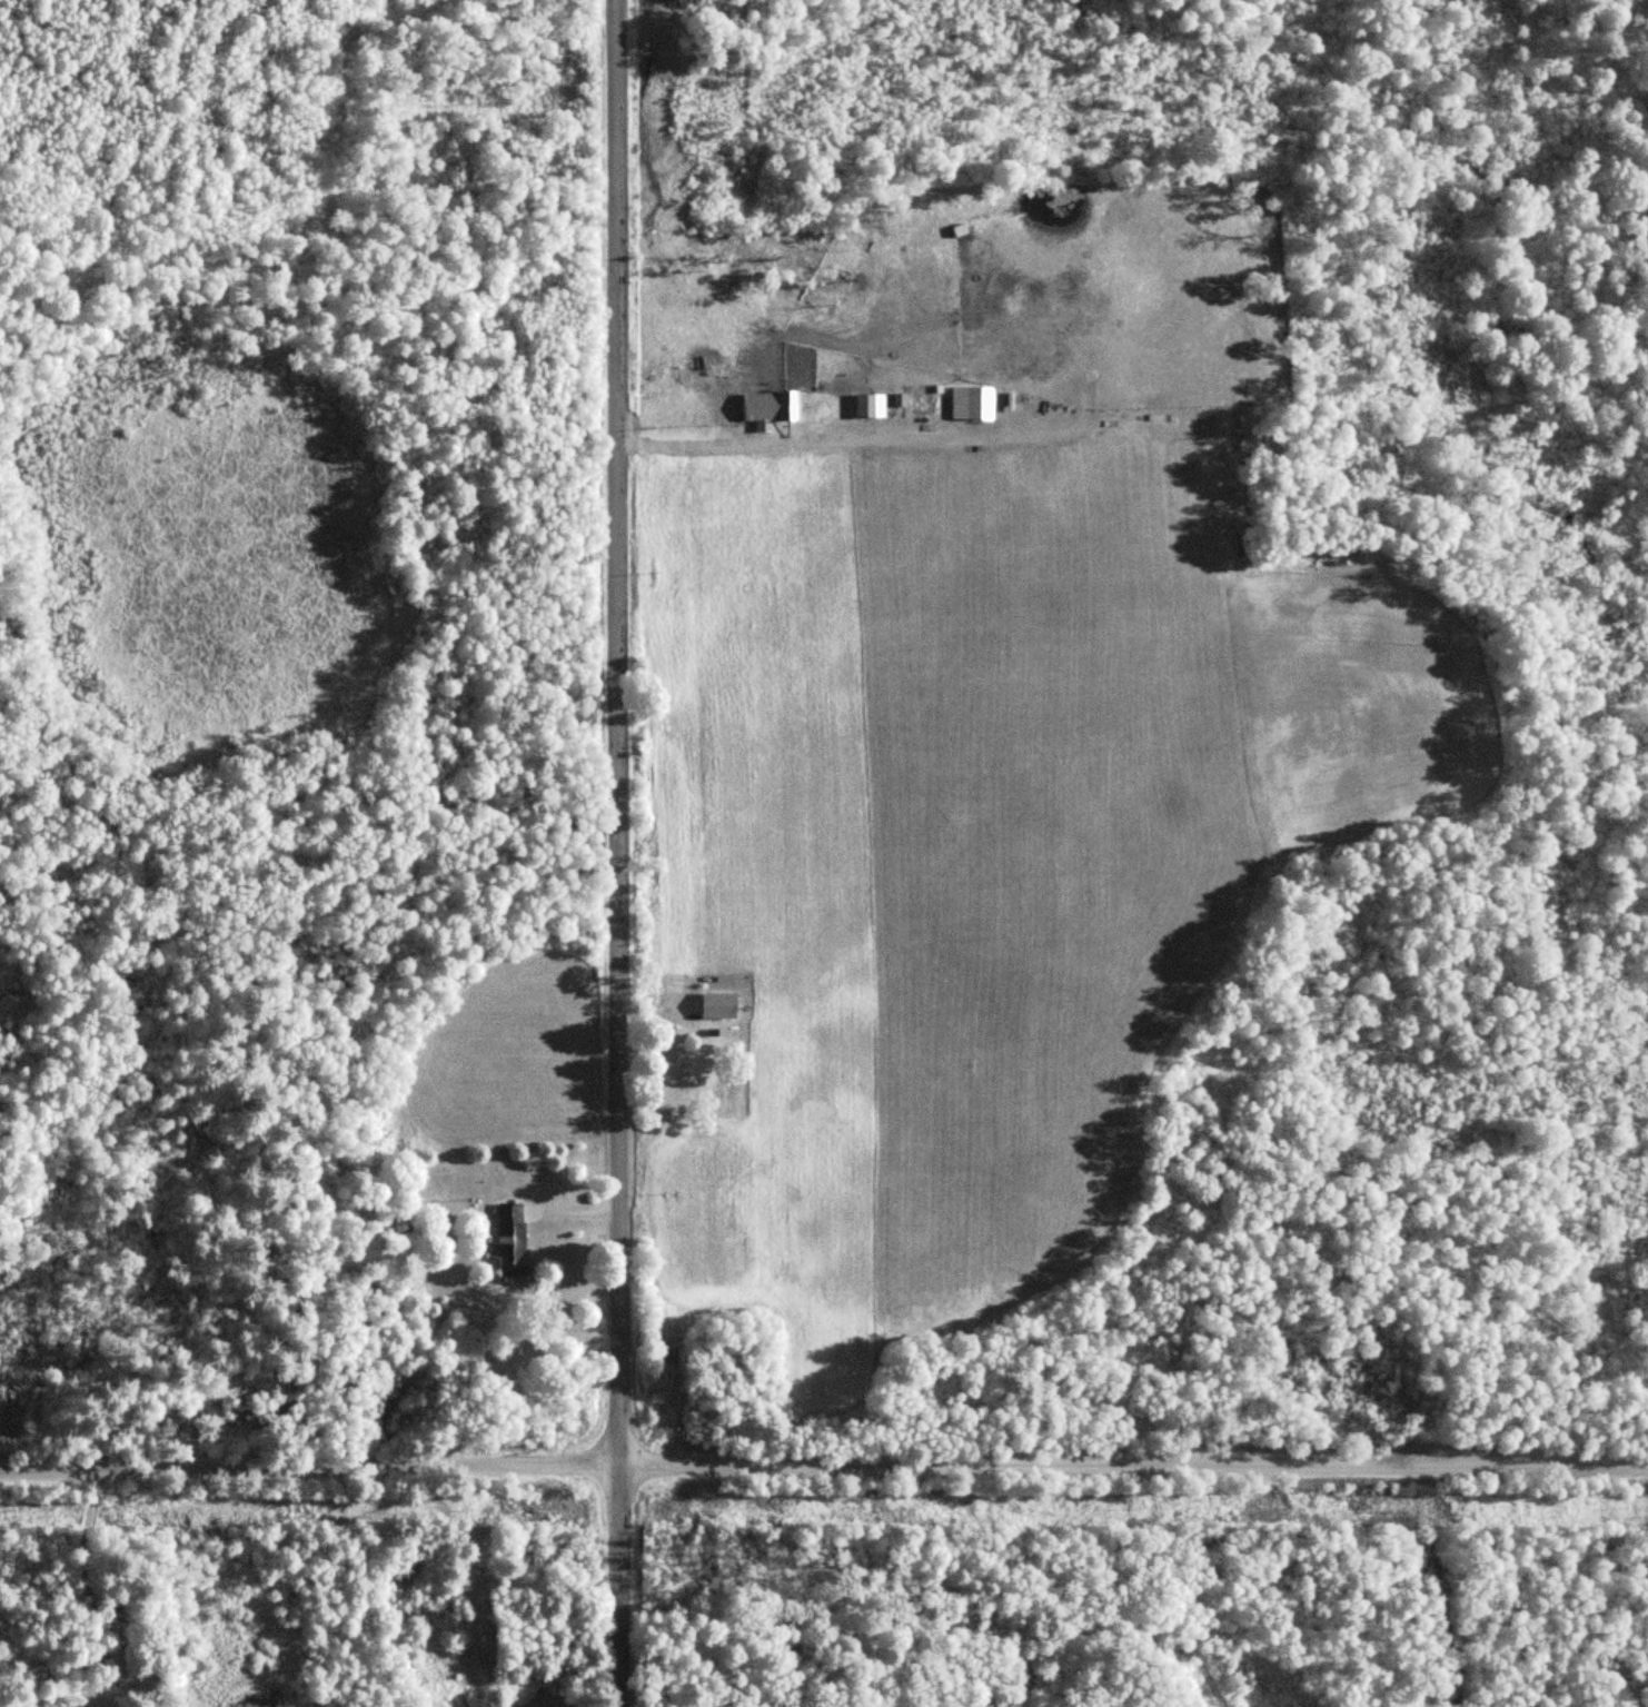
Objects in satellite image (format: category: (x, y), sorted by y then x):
building: (871, 405)
building: (770, 407)
road: (606, 853)
building: (693, 1063)
building: (512, 1239)
road: (823, 1435)
building: (111, 1645)

